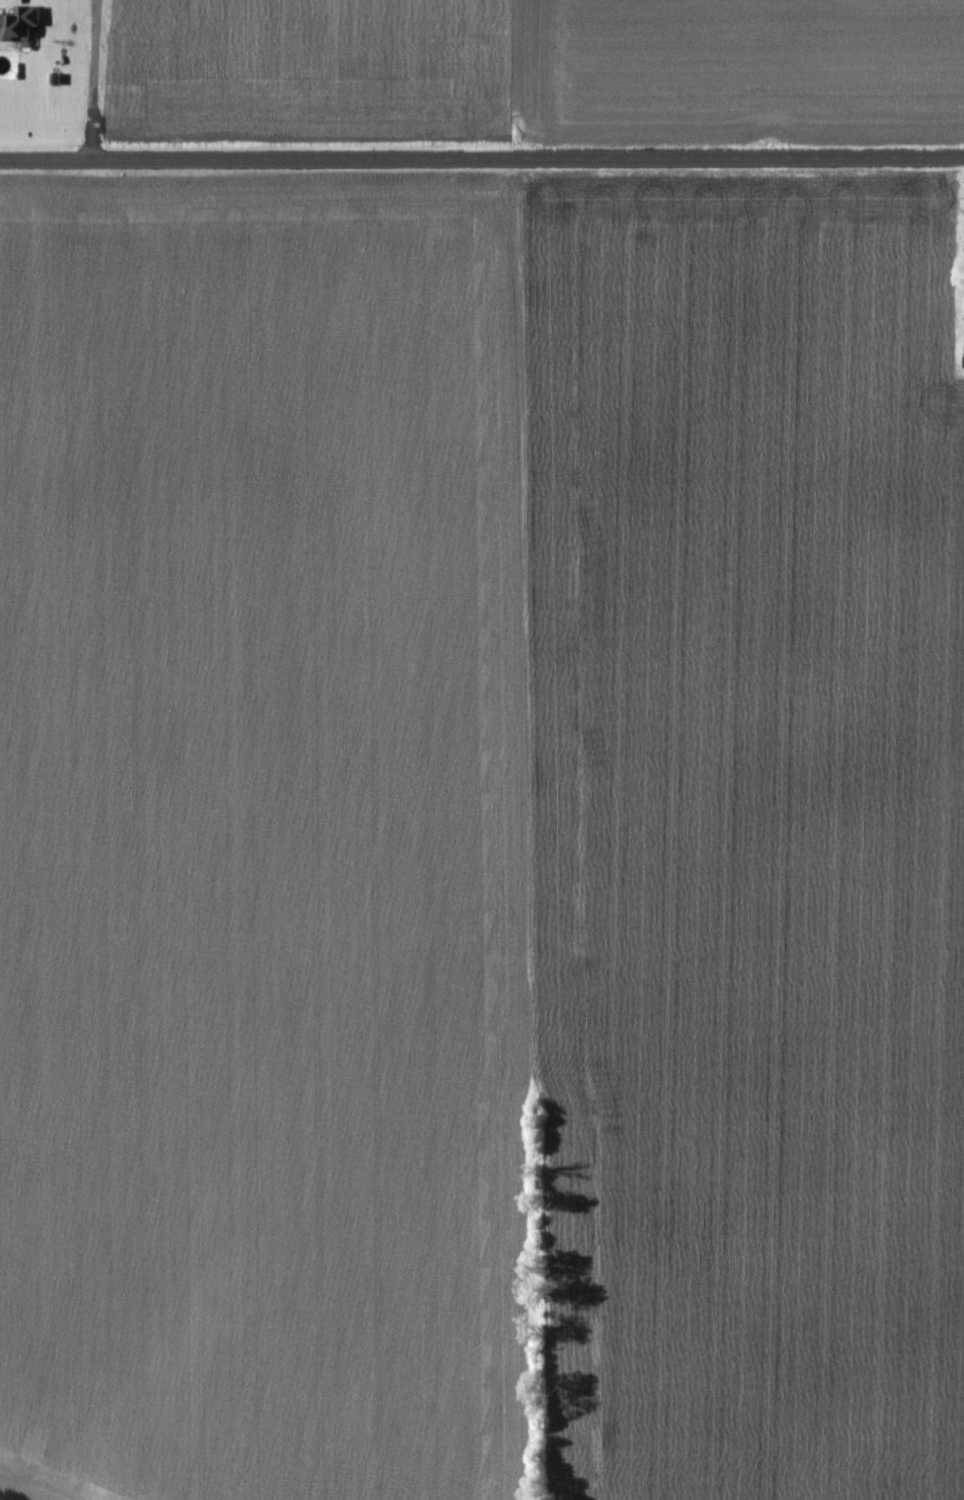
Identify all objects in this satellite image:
building: (18, 21)
road: (94, 79)
road: (481, 158)

